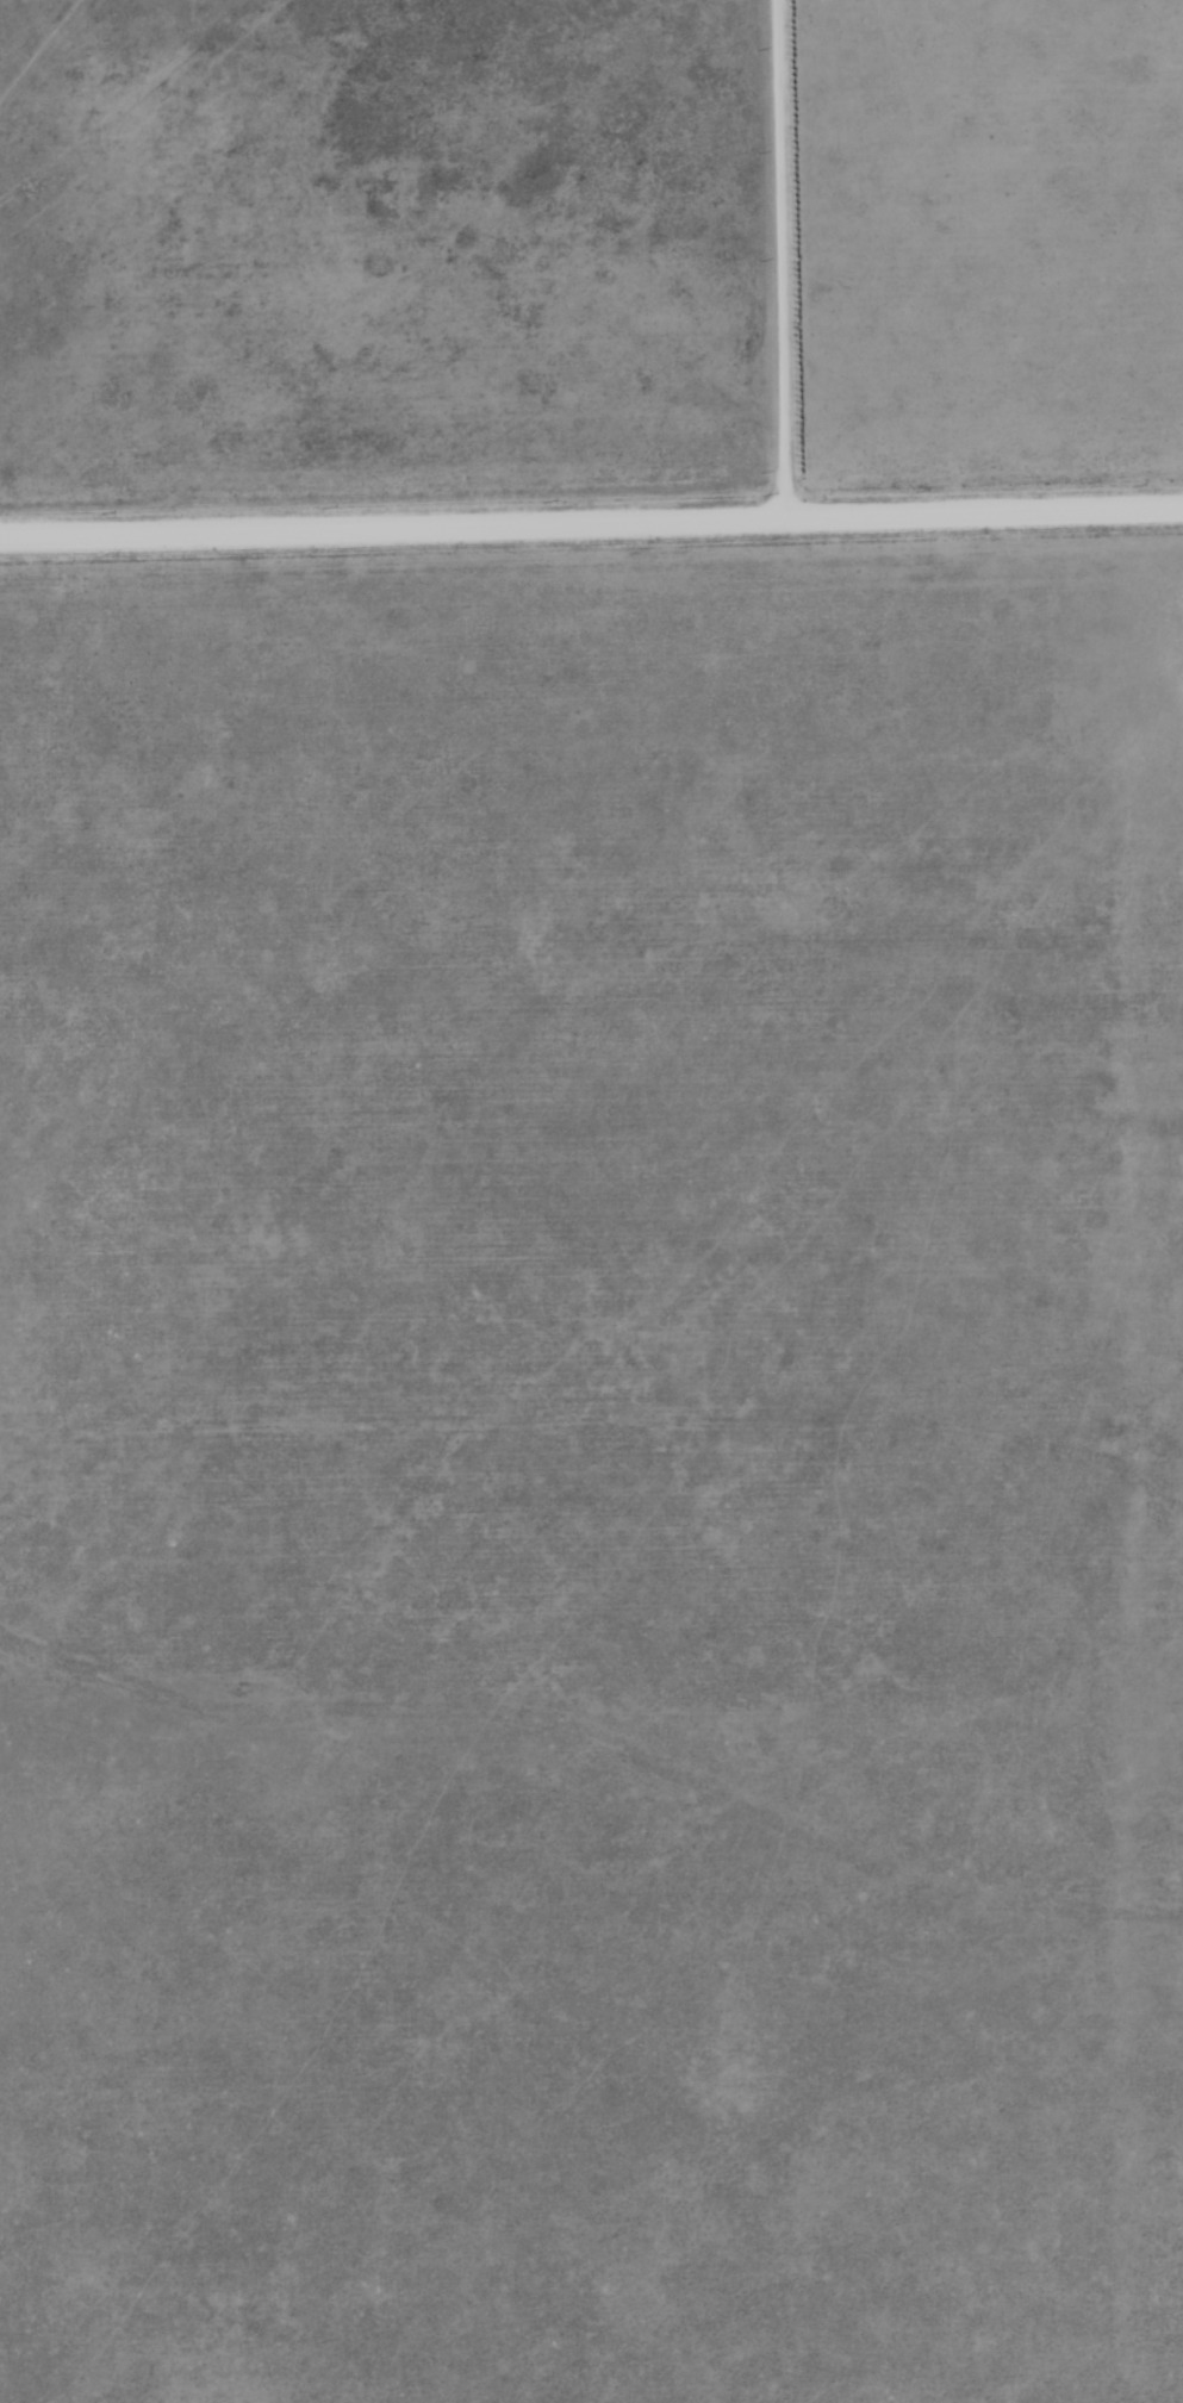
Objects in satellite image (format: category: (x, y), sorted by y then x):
road: (778, 263)
road: (591, 531)

